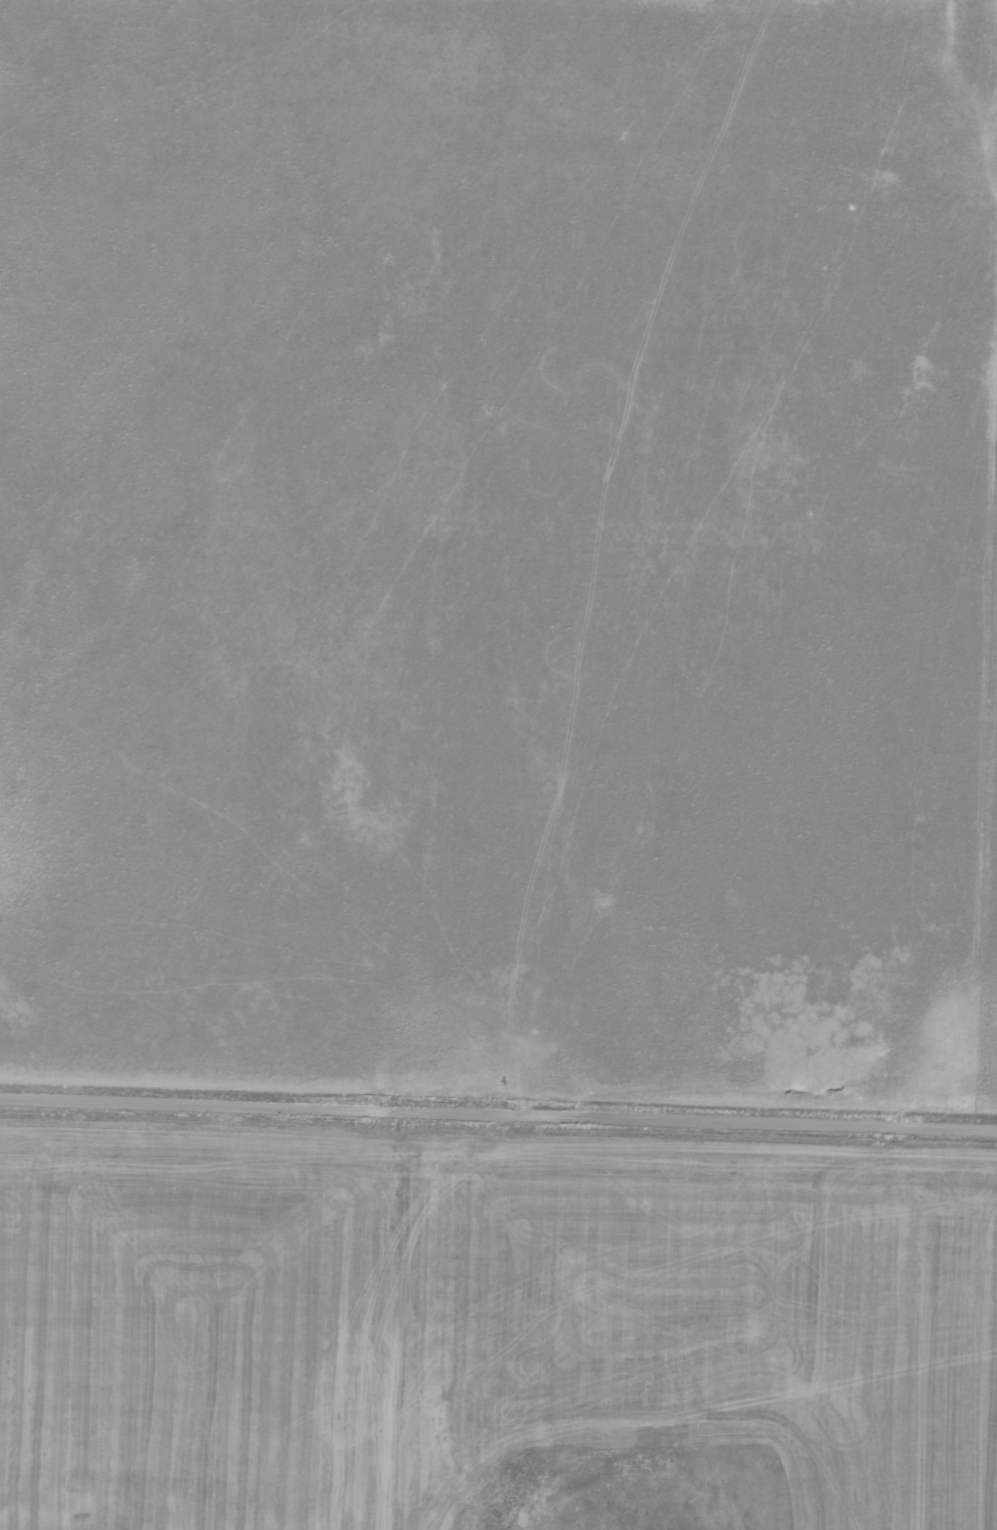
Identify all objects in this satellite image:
road: (498, 1112)

